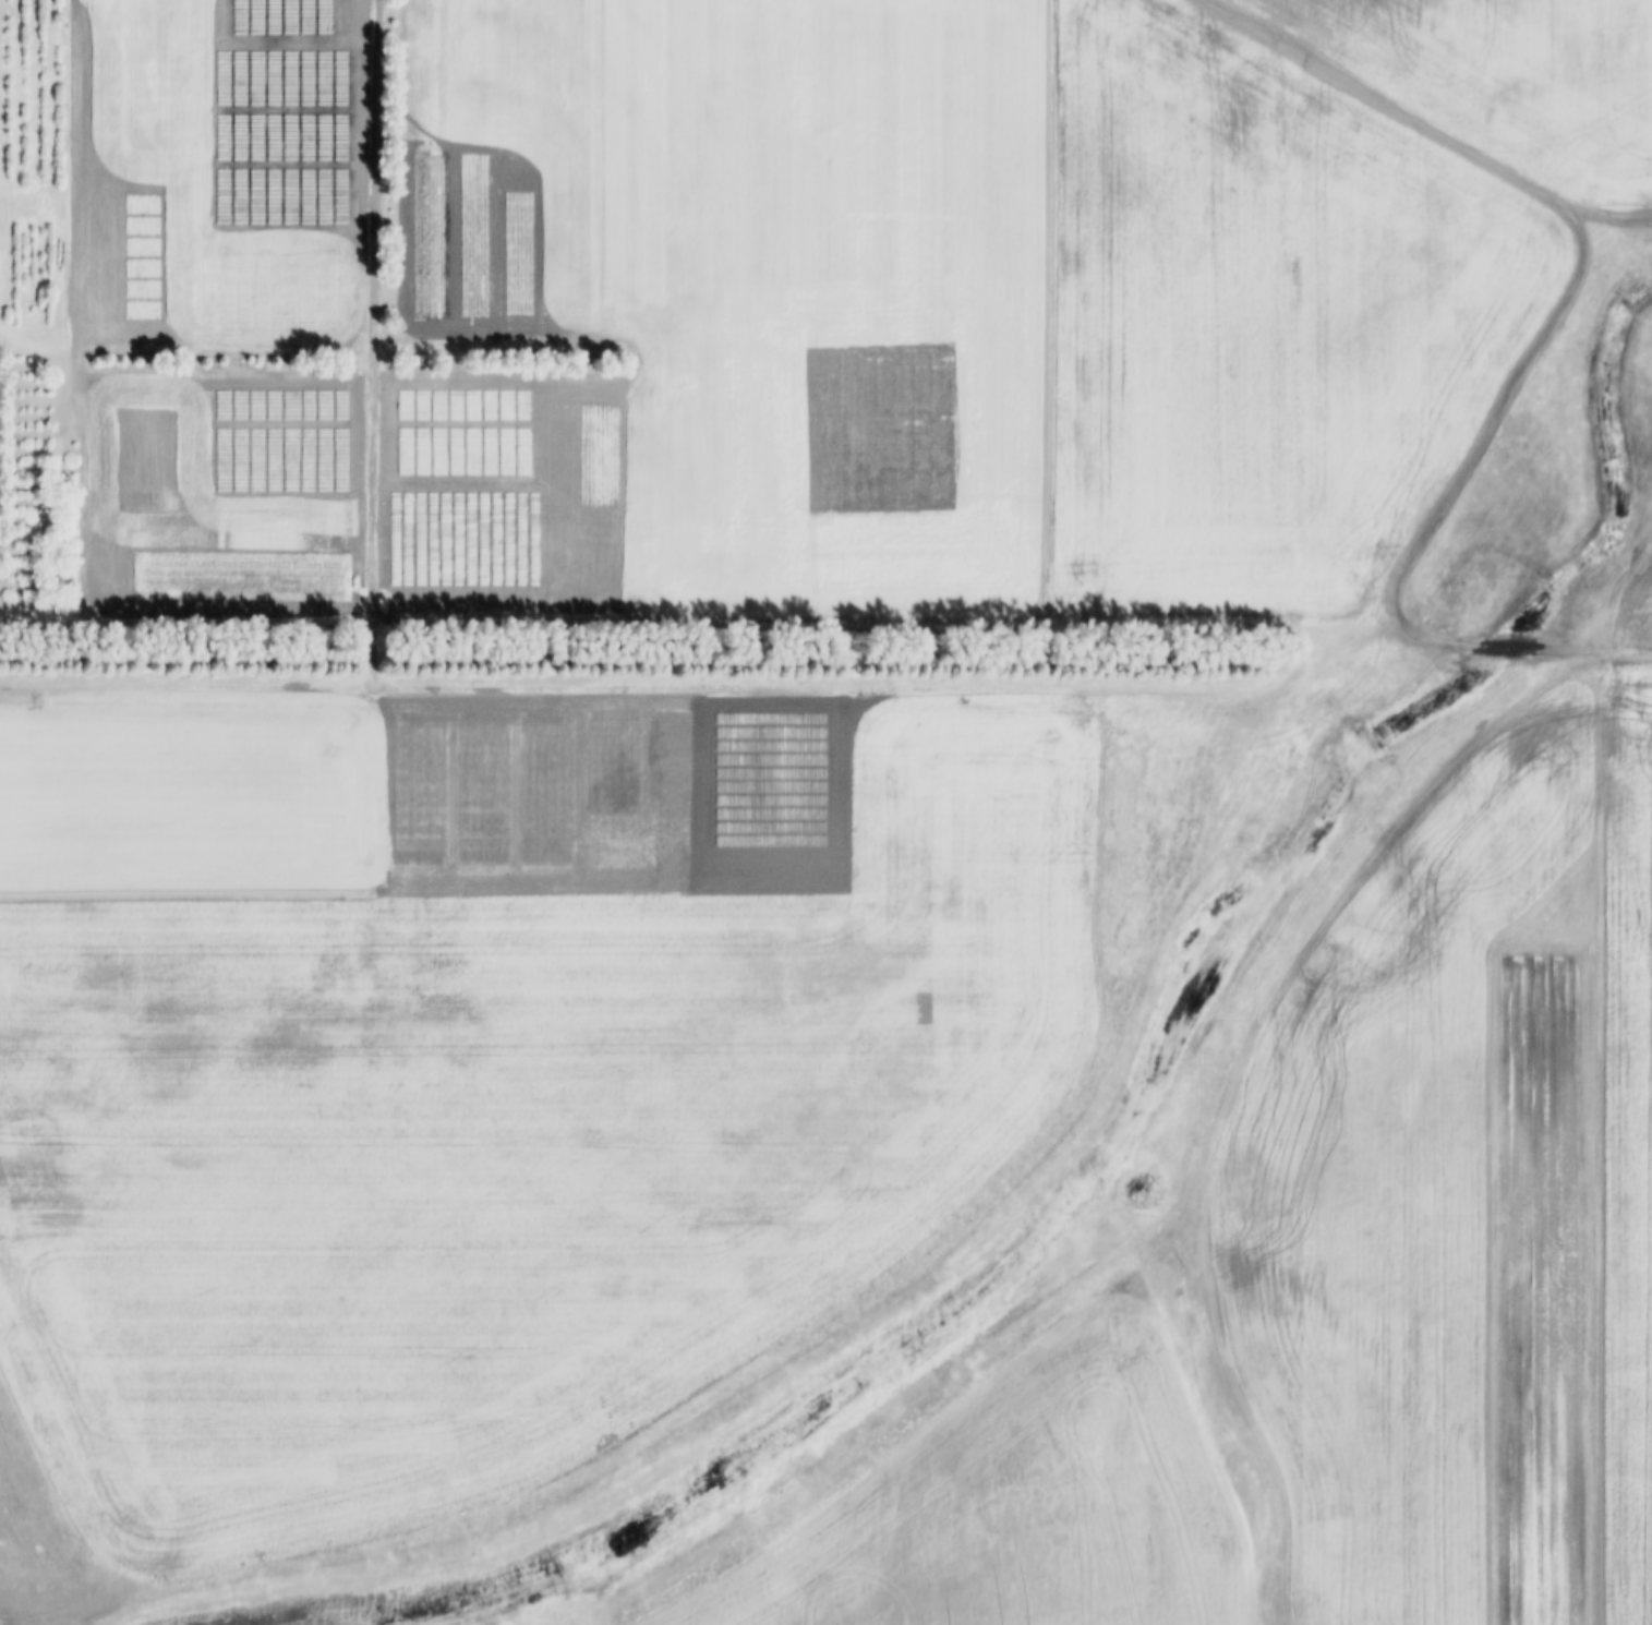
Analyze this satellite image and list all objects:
road: (1422, 124)
road: (930, 311)
road: (570, 347)
road: (373, 468)
road: (186, 617)
road: (859, 623)
road: (928, 684)
road: (712, 924)

